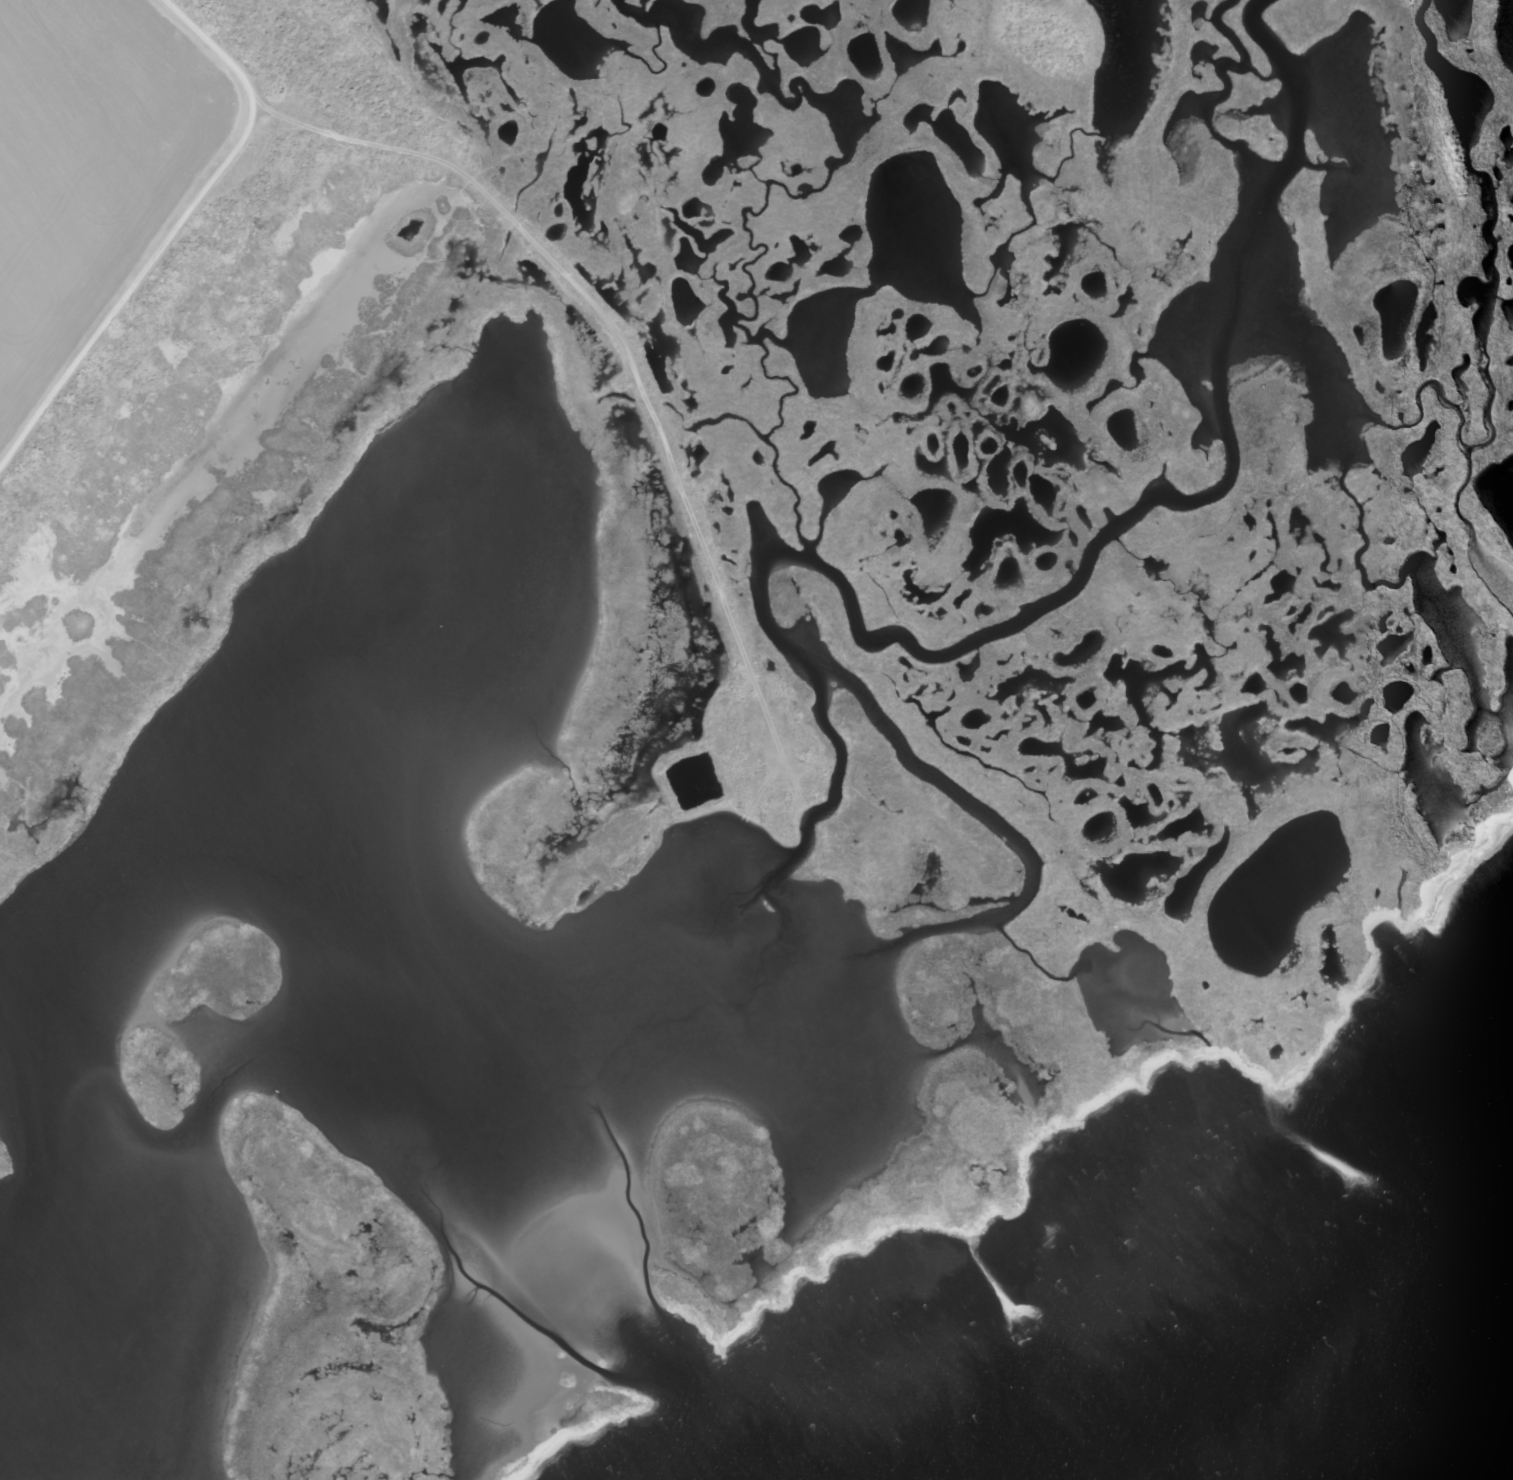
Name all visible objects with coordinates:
road: (167, 227)

